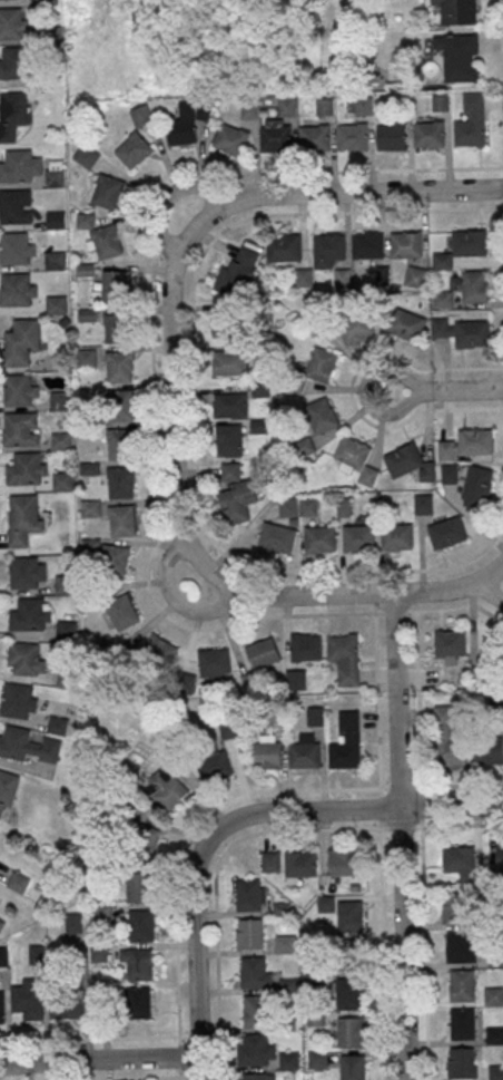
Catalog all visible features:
building: (48, 2)
building: (457, 11)
building: (12, 23)
building: (458, 56)
building: (13, 62)
road: (501, 66)
building: (441, 103)
building: (287, 105)
building: (13, 114)
building: (141, 115)
building: (187, 121)
building: (428, 133)
building: (470, 133)
building: (352, 136)
building: (392, 136)
building: (275, 138)
building: (314, 138)
building: (230, 139)
building: (134, 149)
building: (87, 155)
building: (20, 166)
building: (55, 173)
road: (200, 187)
building: (107, 191)
road: (346, 192)
building: (16, 206)
building: (56, 220)
road: (162, 232)
building: (101, 236)
building: (367, 244)
building: (406, 244)
building: (284, 246)
building: (331, 246)
building: (17, 247)
building: (463, 247)
building: (55, 260)
building: (238, 272)
building: (304, 276)
building: (416, 276)
building: (343, 278)
building: (115, 284)
building: (474, 285)
building: (18, 289)
building: (443, 299)
building: (56, 303)
building: (406, 323)
building: (114, 328)
building: (356, 328)
building: (464, 331)
building: (22, 343)
building: (229, 362)
building: (322, 364)
building: (118, 367)
building: (20, 389)
road: (443, 393)
road: (152, 396)
road: (171, 396)
road: (194, 398)
building: (60, 400)
building: (121, 405)
building: (230, 405)
building: (320, 415)
building: (259, 426)
building: (21, 429)
building: (229, 439)
building: (61, 440)
building: (469, 444)
building: (304, 446)
building: (349, 453)
building: (411, 463)
building: (27, 469)
building: (448, 473)
building: (368, 476)
building: (62, 480)
building: (120, 481)
building: (477, 487)
building: (236, 495)
building: (424, 504)
building: (91, 507)
building: (23, 518)
building: (121, 520)
building: (447, 533)
building: (397, 536)
building: (278, 537)
building: (358, 537)
building: (320, 539)
building: (117, 560)
road: (166, 565)
building: (27, 572)
building: (63, 584)
road: (490, 592)
road: (354, 593)
road: (207, 609)
building: (122, 612)
building: (31, 614)
building: (66, 631)
building: (450, 643)
building: (306, 646)
building: (157, 653)
building: (264, 653)
building: (345, 656)
building: (26, 658)
building: (487, 662)
building: (215, 663)
building: (62, 680)
building: (184, 683)
building: (19, 700)
road: (376, 700)
building: (315, 716)
building: (57, 724)
building: (230, 729)
building: (447, 738)
building: (346, 741)
building: (28, 746)
building: (306, 751)
building: (489, 751)
building: (267, 753)
building: (215, 766)
building: (8, 788)
building: (166, 789)
road: (297, 790)
road: (355, 810)
road: (398, 836)
building: (145, 840)
road: (421, 845)
building: (500, 854)
building: (270, 860)
building: (343, 862)
building: (300, 863)
road: (218, 864)
building: (462, 865)
building: (19, 882)
building: (137, 886)
building: (248, 895)
building: (453, 906)
building: (101, 914)
building: (348, 915)
building: (73, 922)
building: (1, 923)
building: (141, 924)
building: (251, 933)
building: (285, 944)
building: (458, 946)
road: (384, 953)
road: (177, 954)
road: (194, 954)
building: (348, 954)
building: (138, 963)
building: (253, 971)
building: (463, 985)
building: (348, 992)
building: (493, 995)
building: (29, 1000)
building: (138, 1002)
building: (69, 1005)
building: (2, 1006)
building: (256, 1010)
building: (462, 1023)
building: (349, 1031)
building: (494, 1034)
road: (89, 1038)
building: (256, 1050)
building: (318, 1058)
road: (98, 1059)
building: (289, 1060)
building: (462, 1062)
building: (352, 1067)
building: (495, 1072)
building: (255, 1076)
road: (110, 1078)

